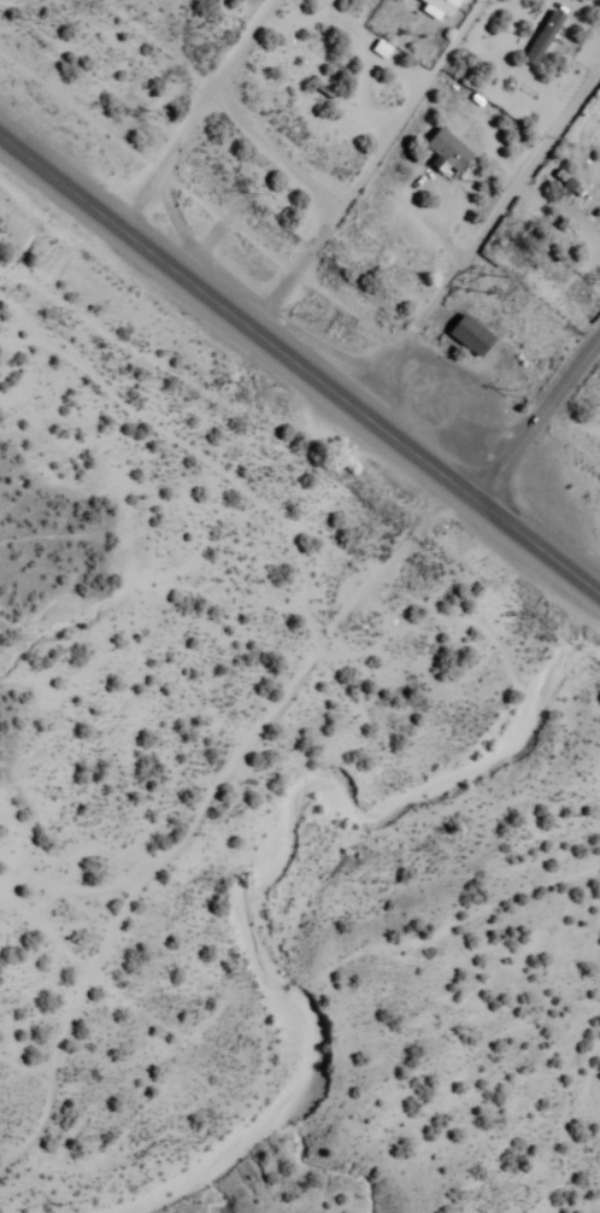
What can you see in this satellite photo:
building: (442, 8)
building: (546, 41)
road: (195, 115)
building: (451, 151)
road: (373, 166)
power tower: (264, 195)
power tower: (599, 281)
power tower: (495, 282)
building: (473, 338)
road: (300, 364)
power tower: (511, 395)
road: (543, 429)
road: (193, 452)
road: (395, 558)
road: (147, 890)

